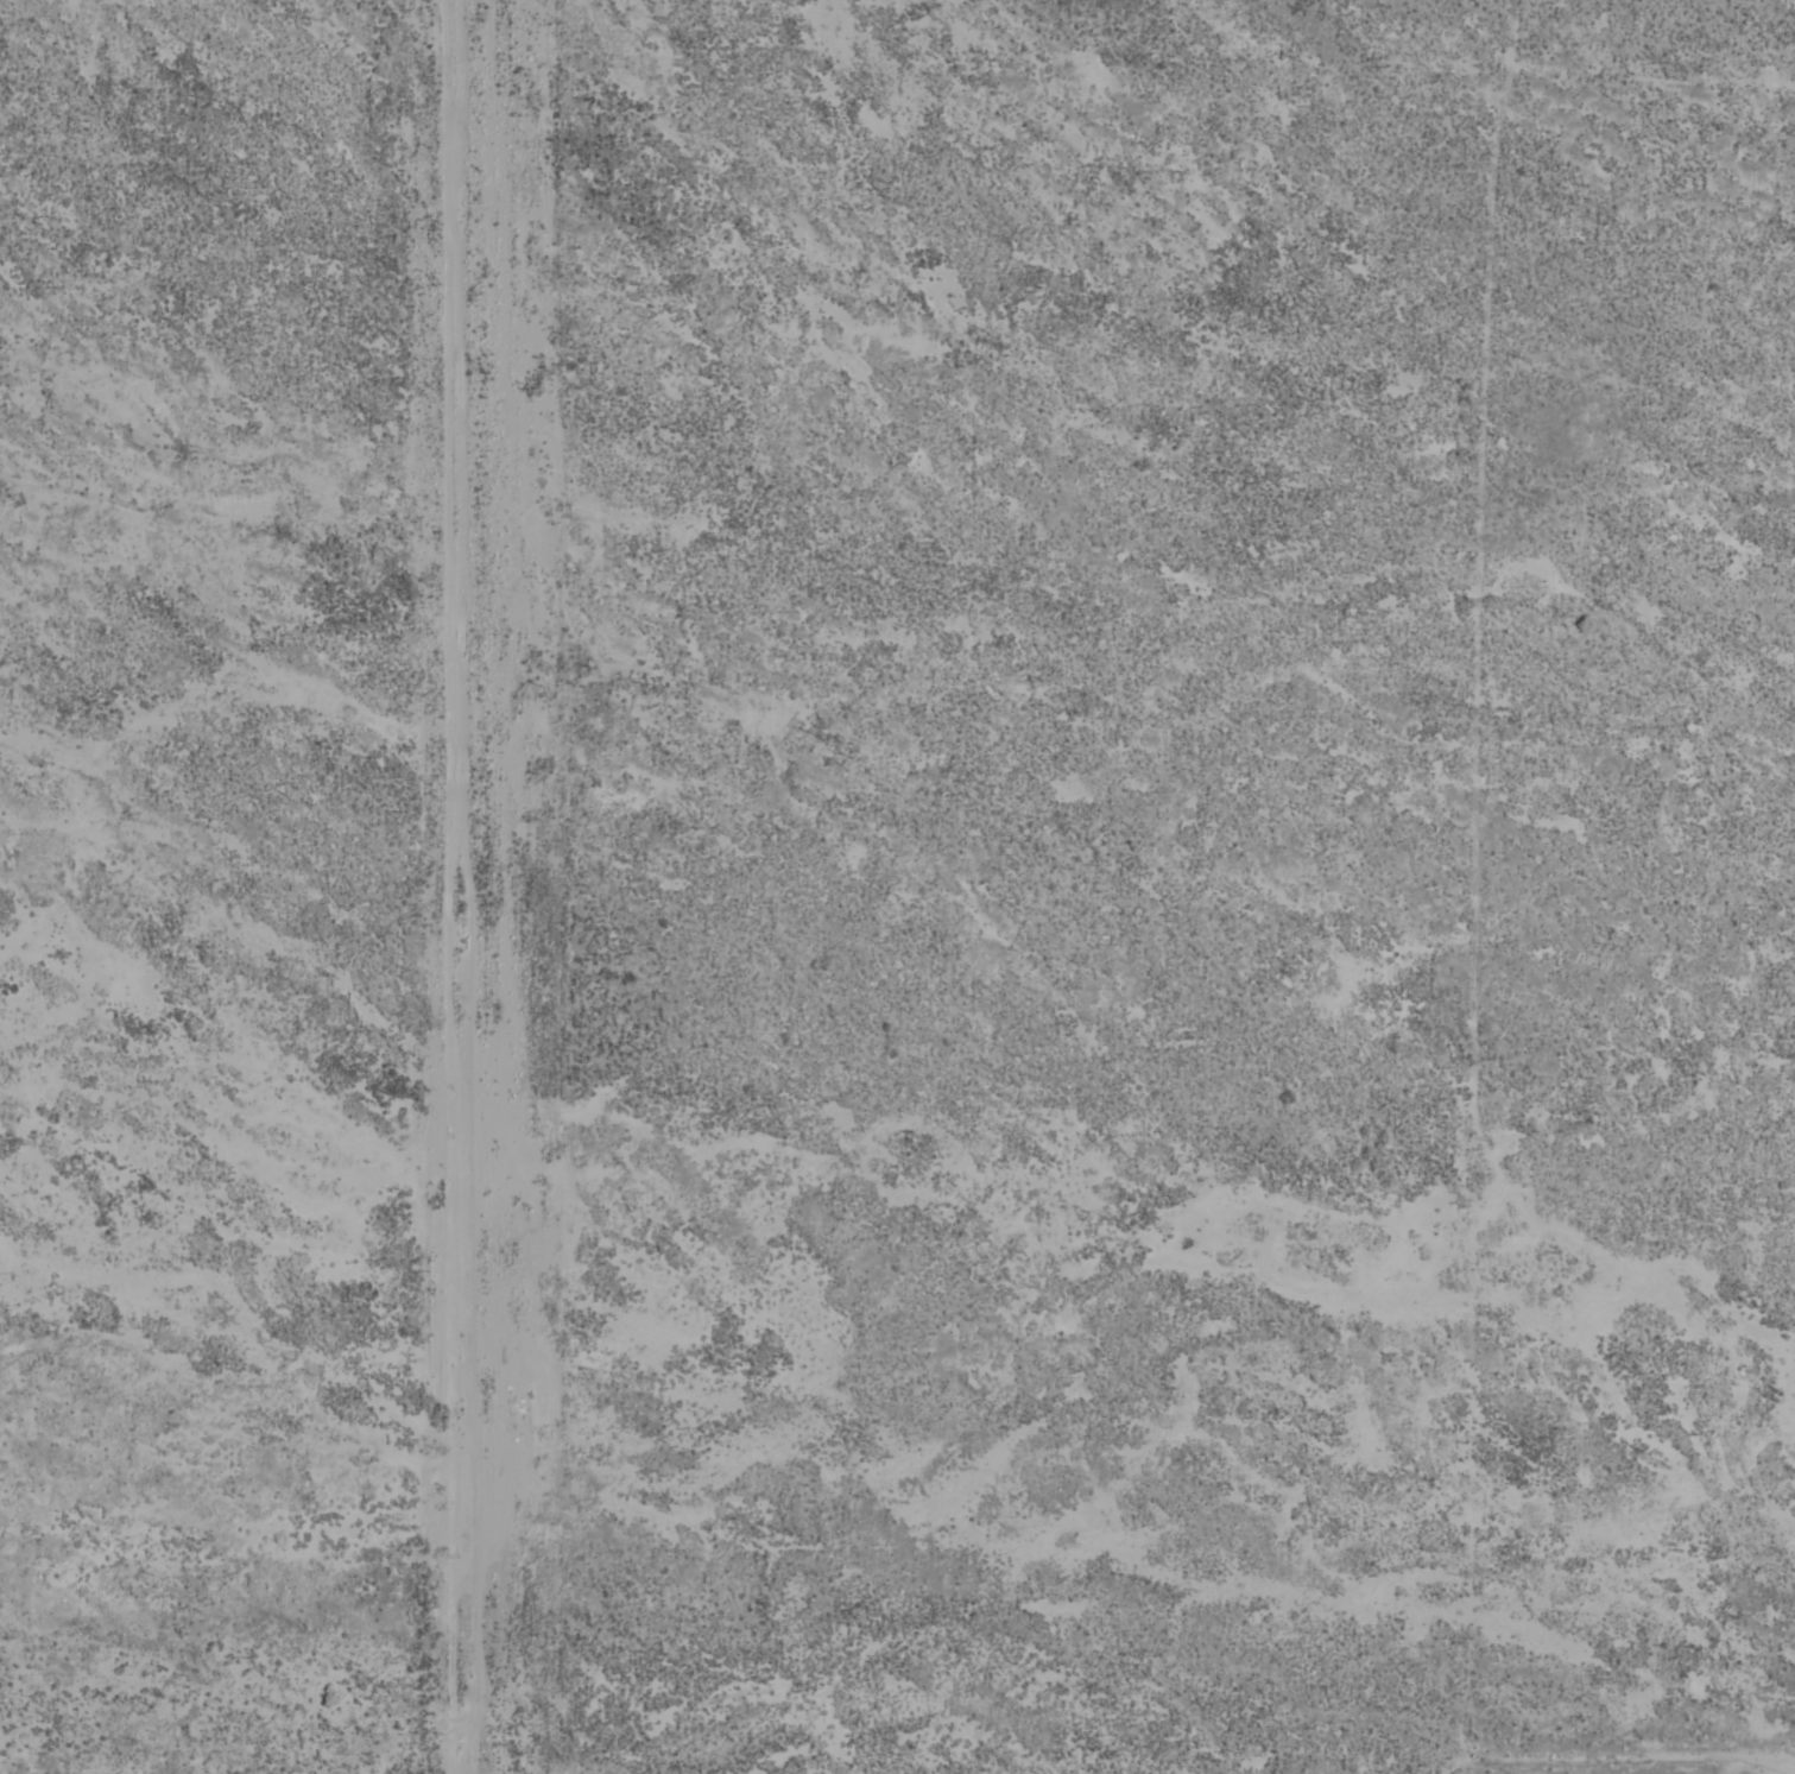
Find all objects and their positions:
railway: (422, 1092)
railway: (415, 1103)

